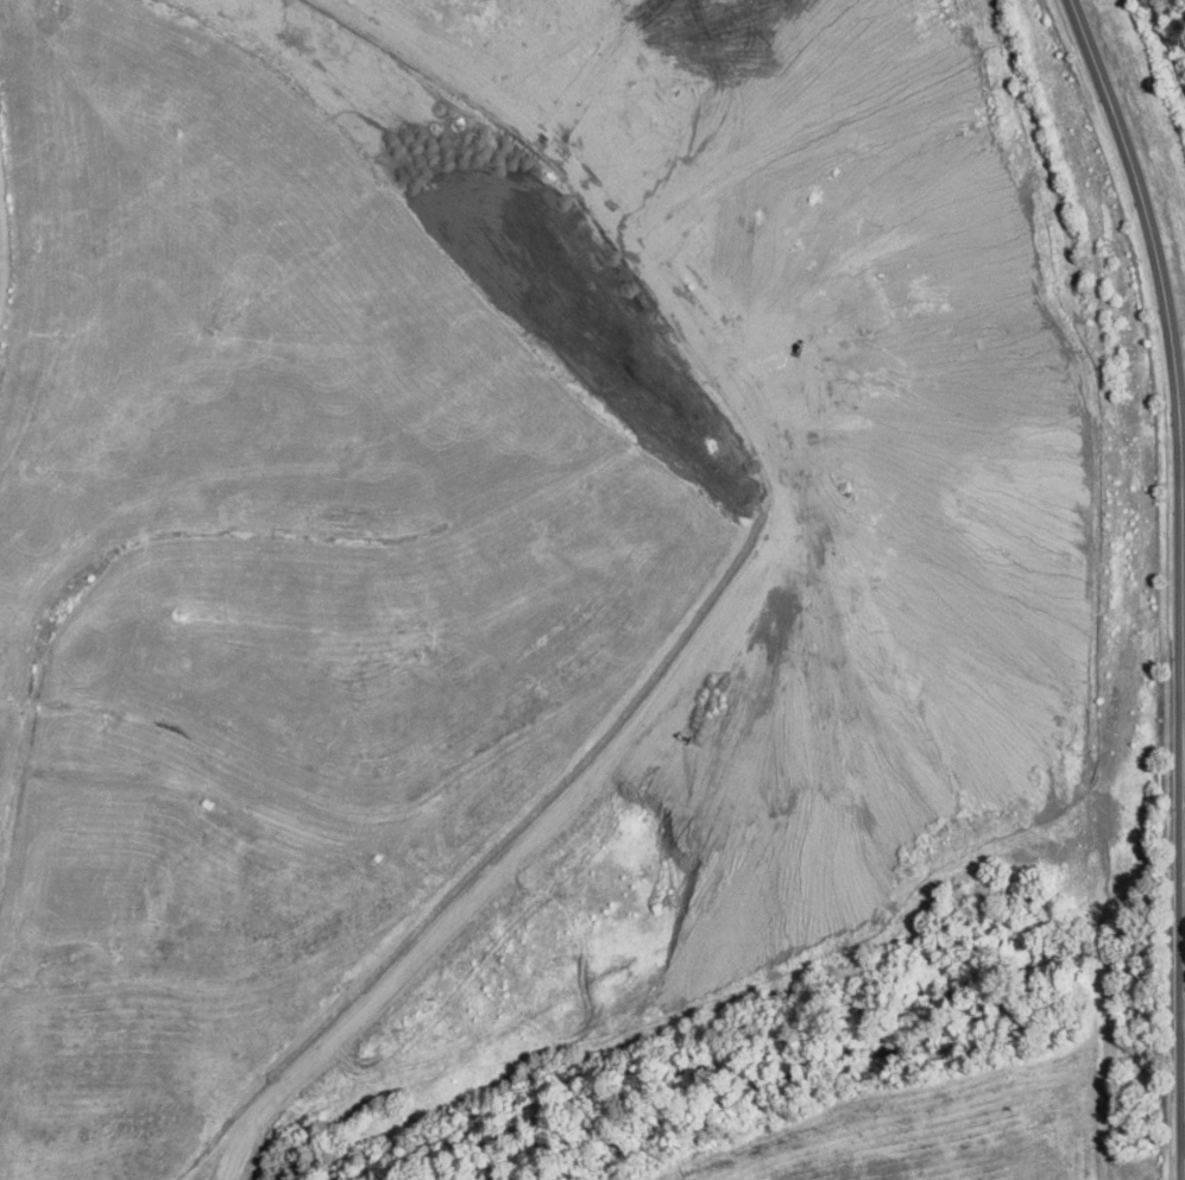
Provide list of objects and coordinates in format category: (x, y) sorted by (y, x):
landfill: (1159, 75)
road: (0, 255)
road: (1166, 297)
road: (1165, 415)
landfill: (571, 597)
road: (711, 644)
road: (1170, 1129)

